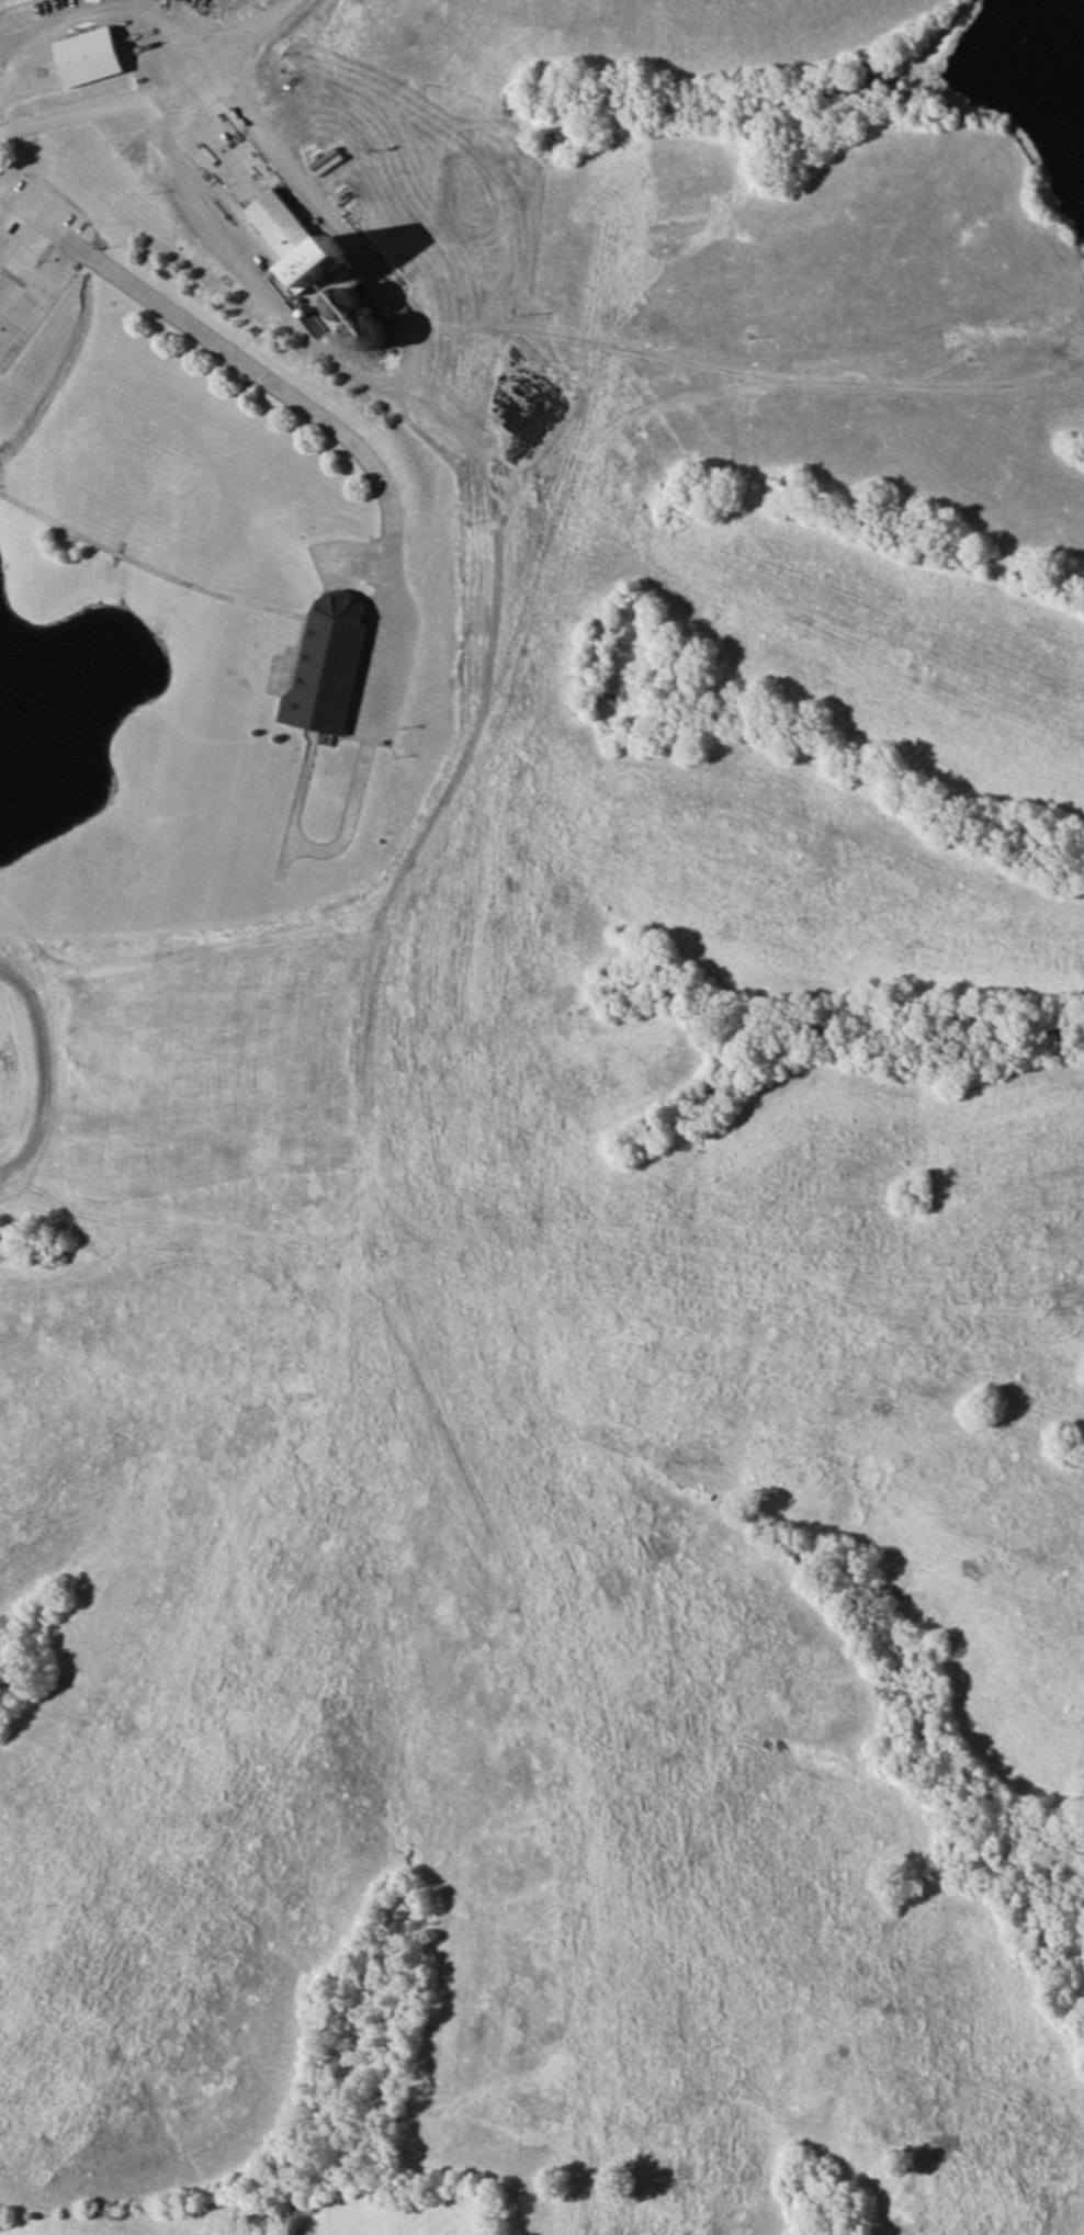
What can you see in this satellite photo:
building: (86, 58)
building: (283, 240)
building: (348, 303)
building: (328, 659)

